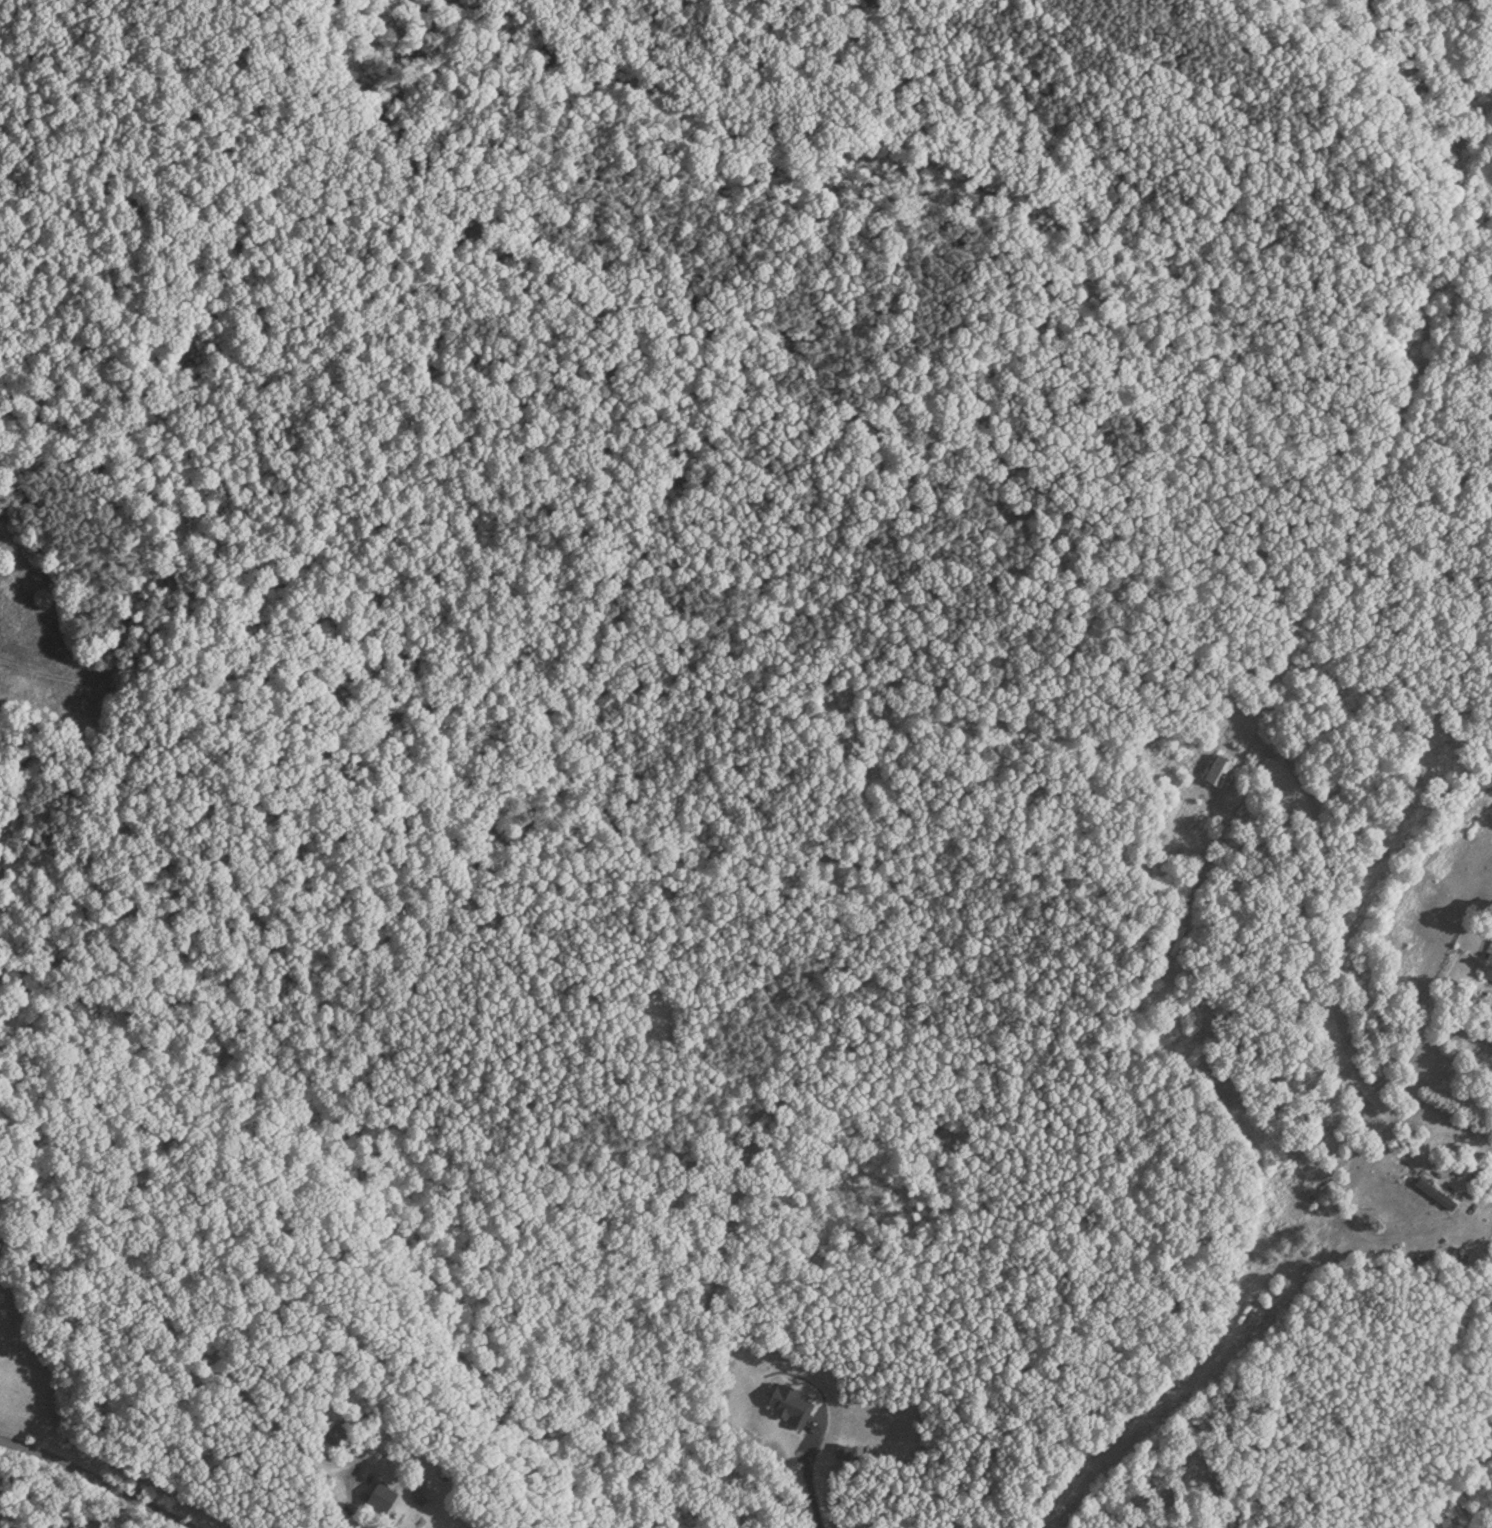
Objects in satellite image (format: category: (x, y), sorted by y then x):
building: (1223, 766)
building: (1490, 966)
road: (1334, 977)
road: (1469, 1135)
building: (1438, 1190)
road: (808, 1477)
road: (99, 1479)
building: (383, 1491)

